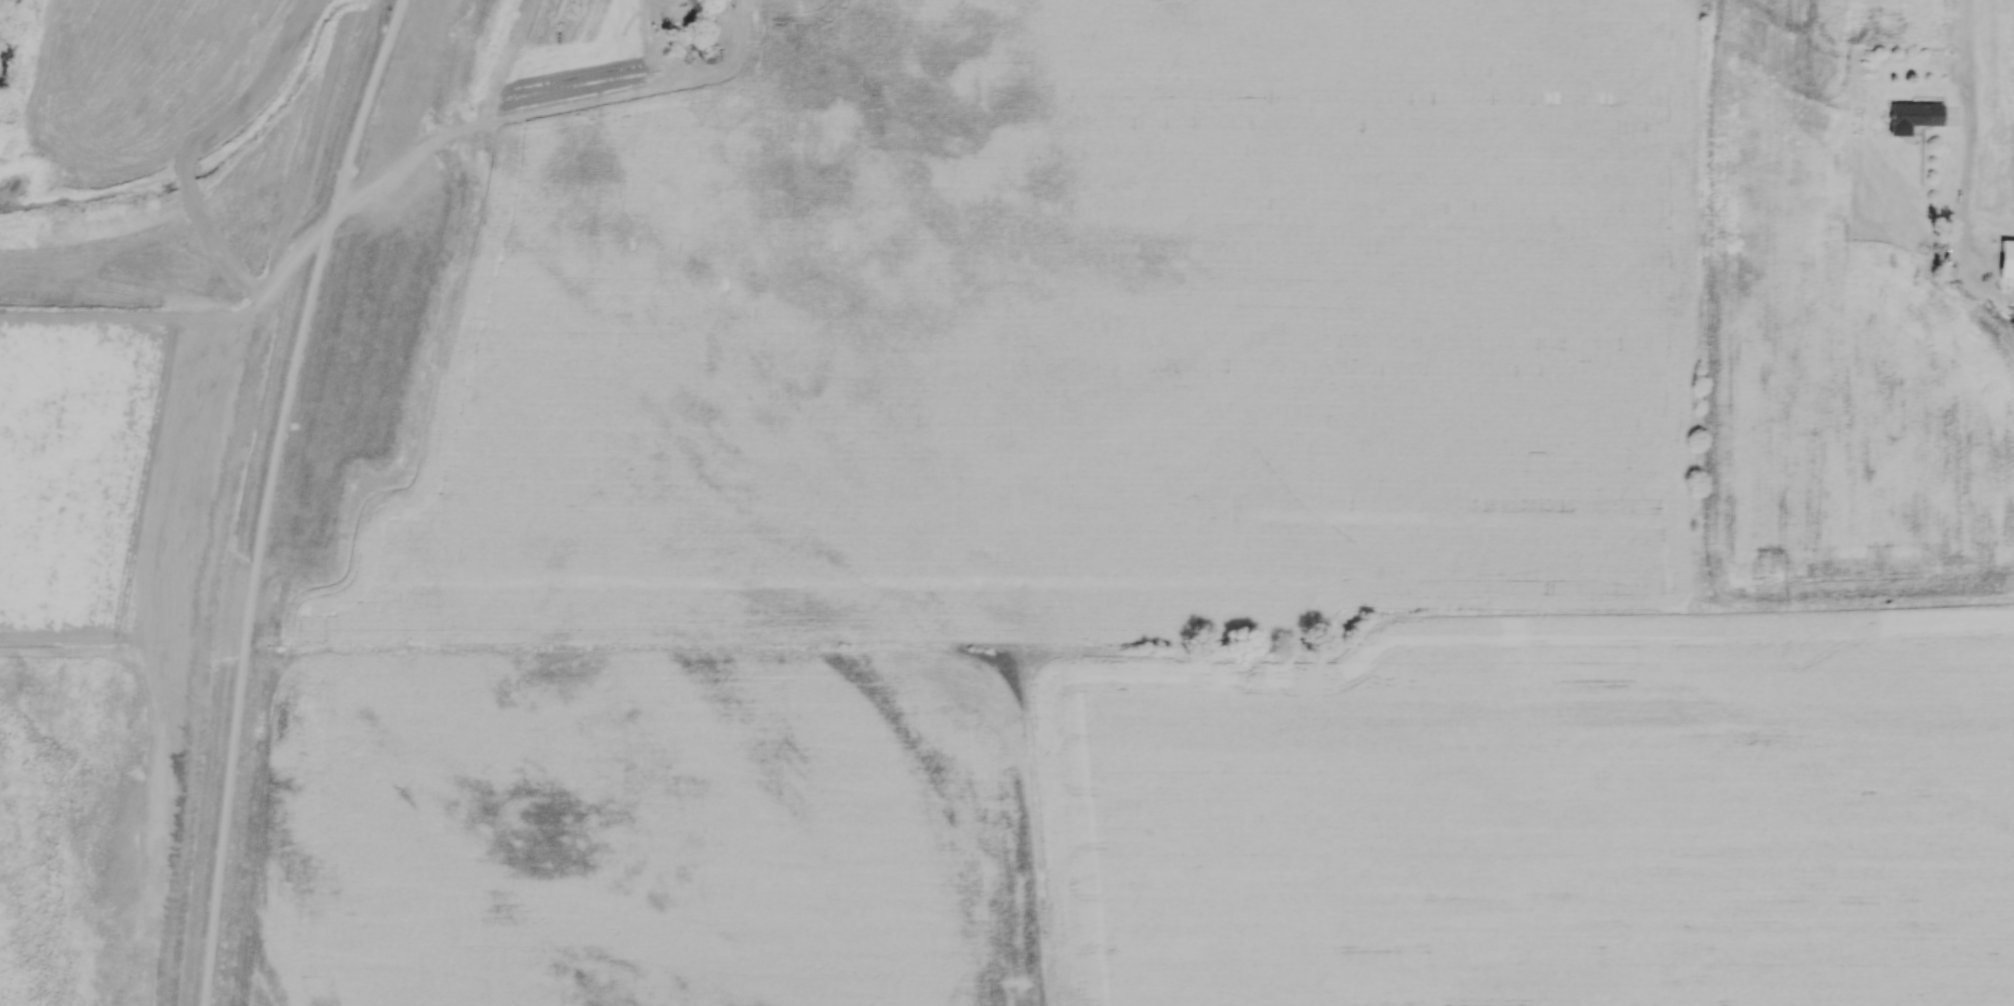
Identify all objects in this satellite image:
road: (1968, 128)
road: (255, 494)

